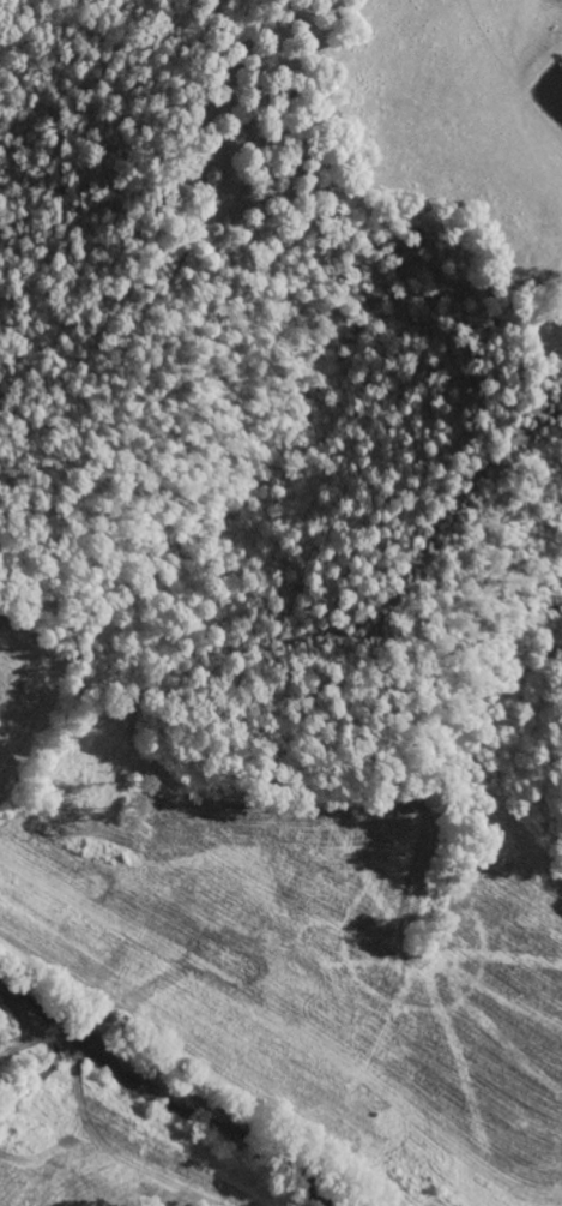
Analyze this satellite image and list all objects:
road: (216, 1084)

